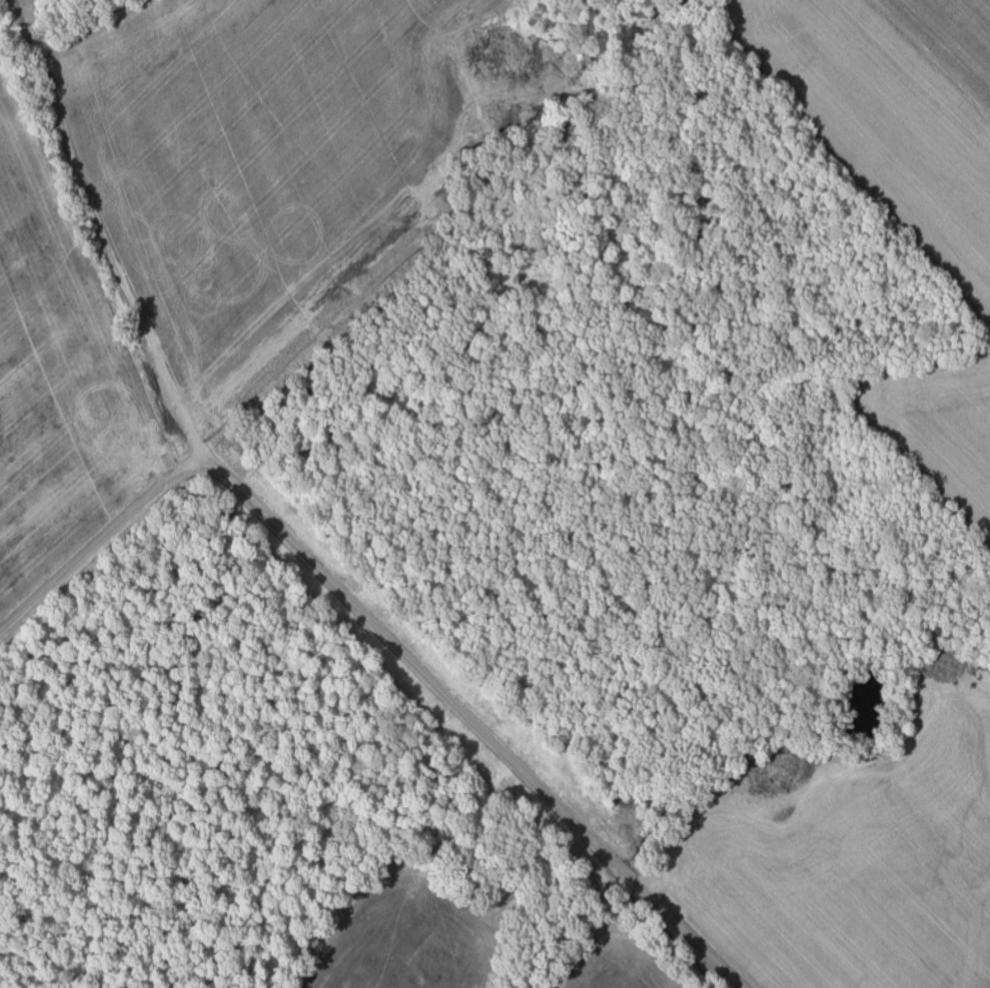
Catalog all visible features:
road: (461, 228)
road: (105, 537)
road: (480, 728)

